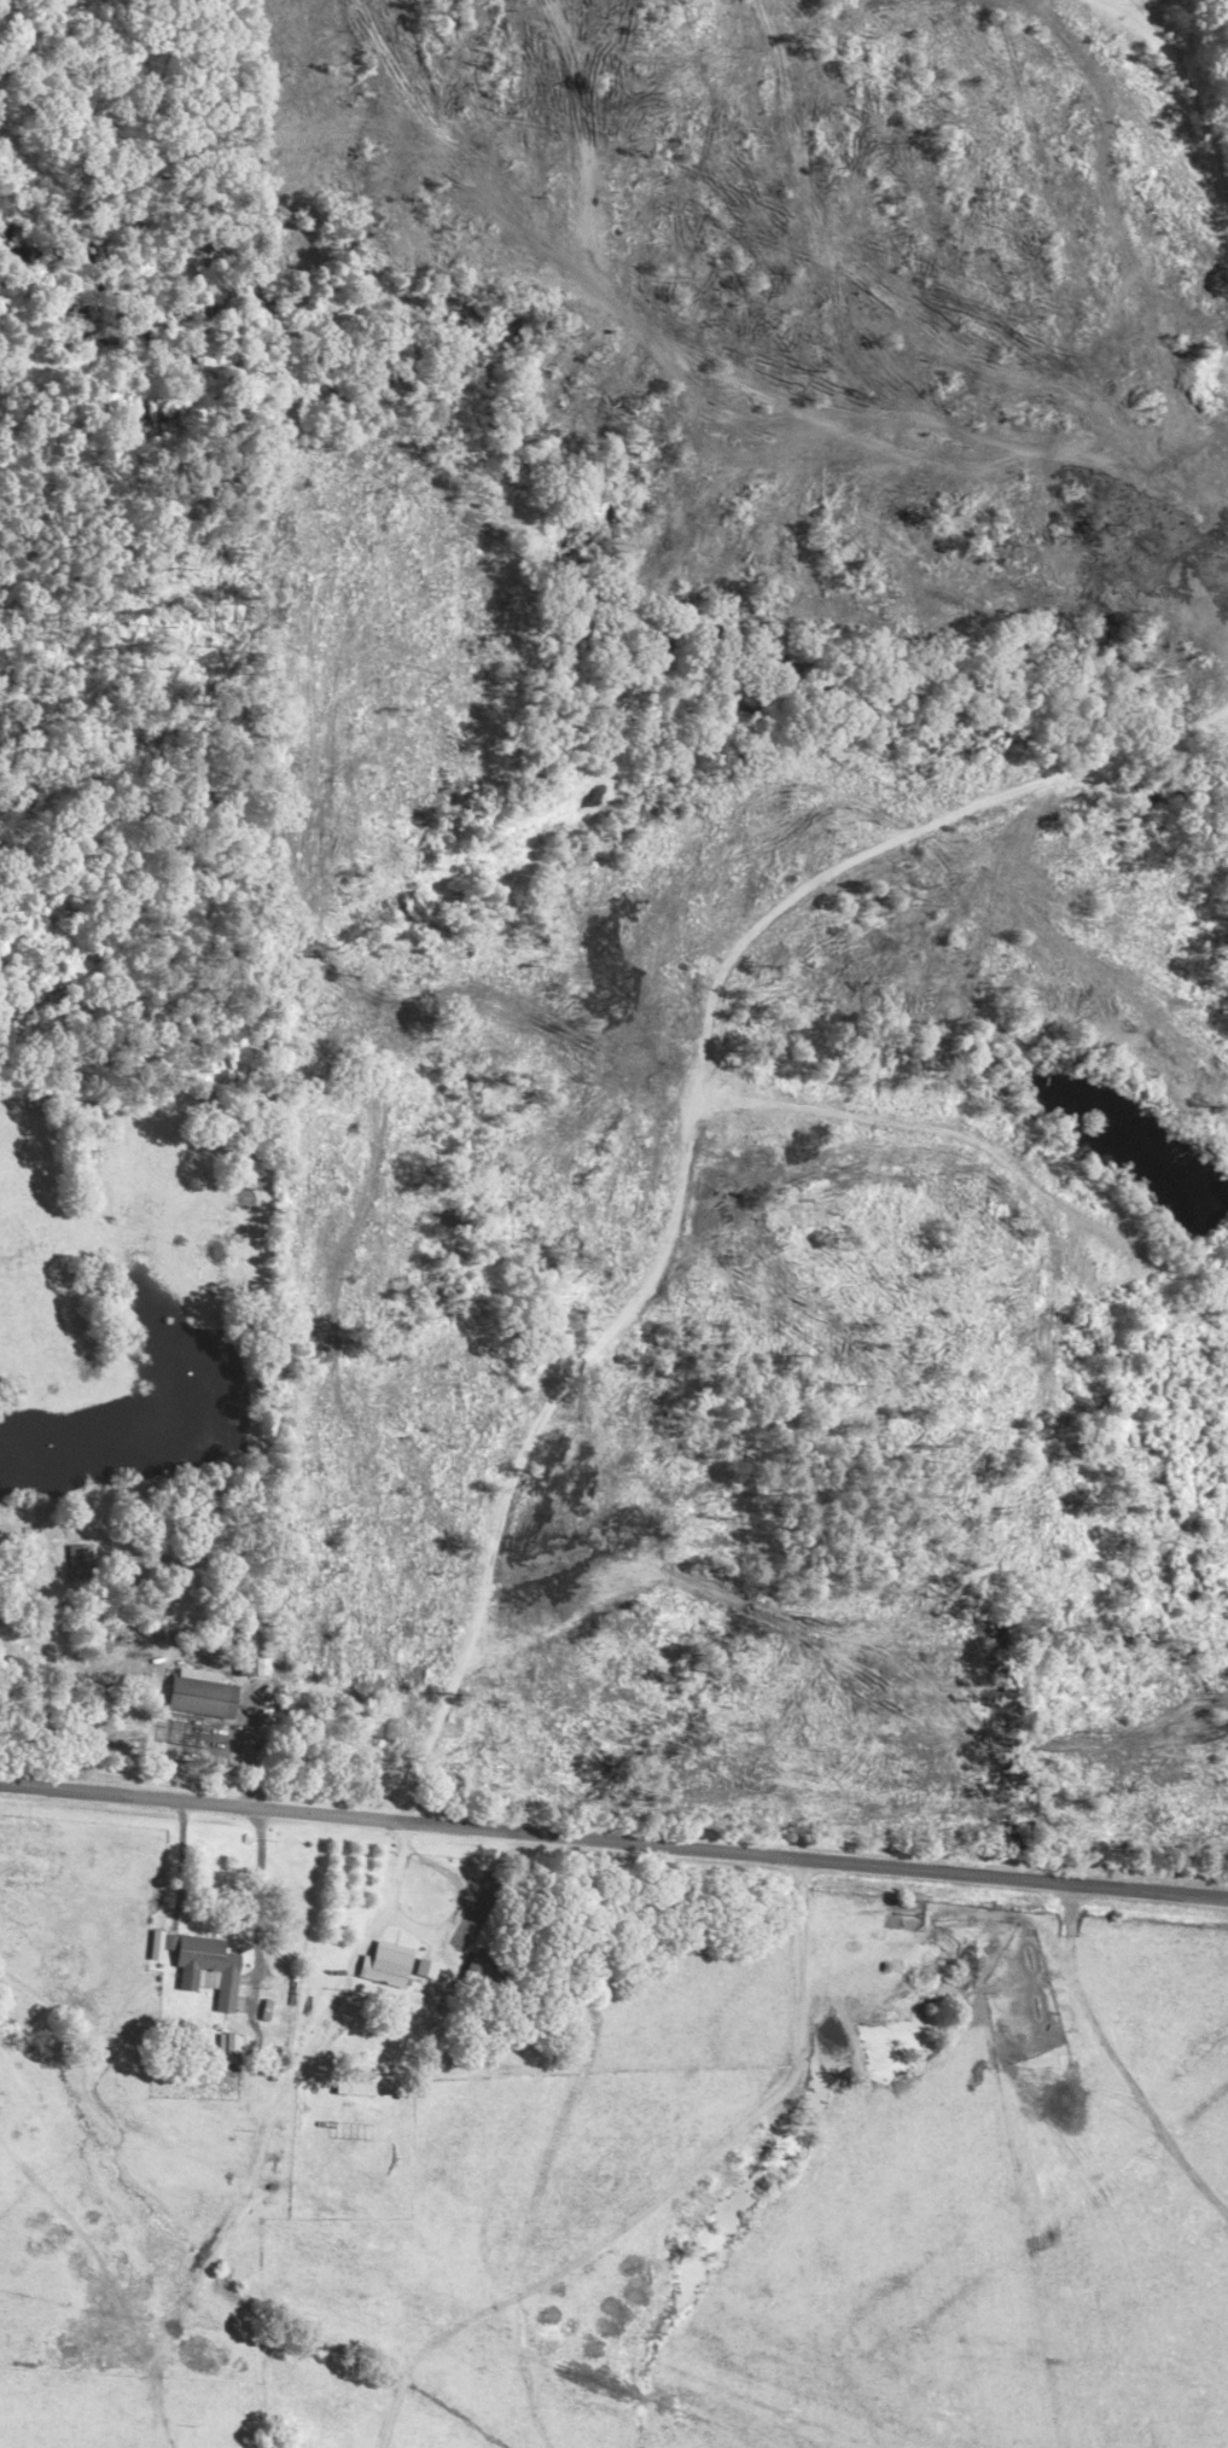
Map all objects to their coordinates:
road: (873, 861)
building: (68, 1562)
building: (193, 1700)
road: (613, 1843)
building: (380, 1969)
building: (202, 1972)
building: (478, 1975)
building: (225, 2048)
road: (665, 2193)

